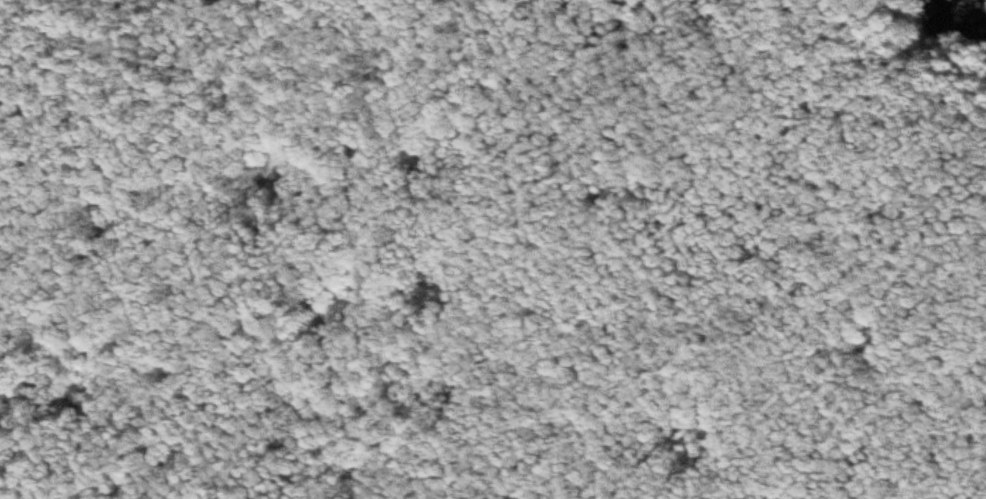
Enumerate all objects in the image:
road: (378, 33)
road: (366, 282)

